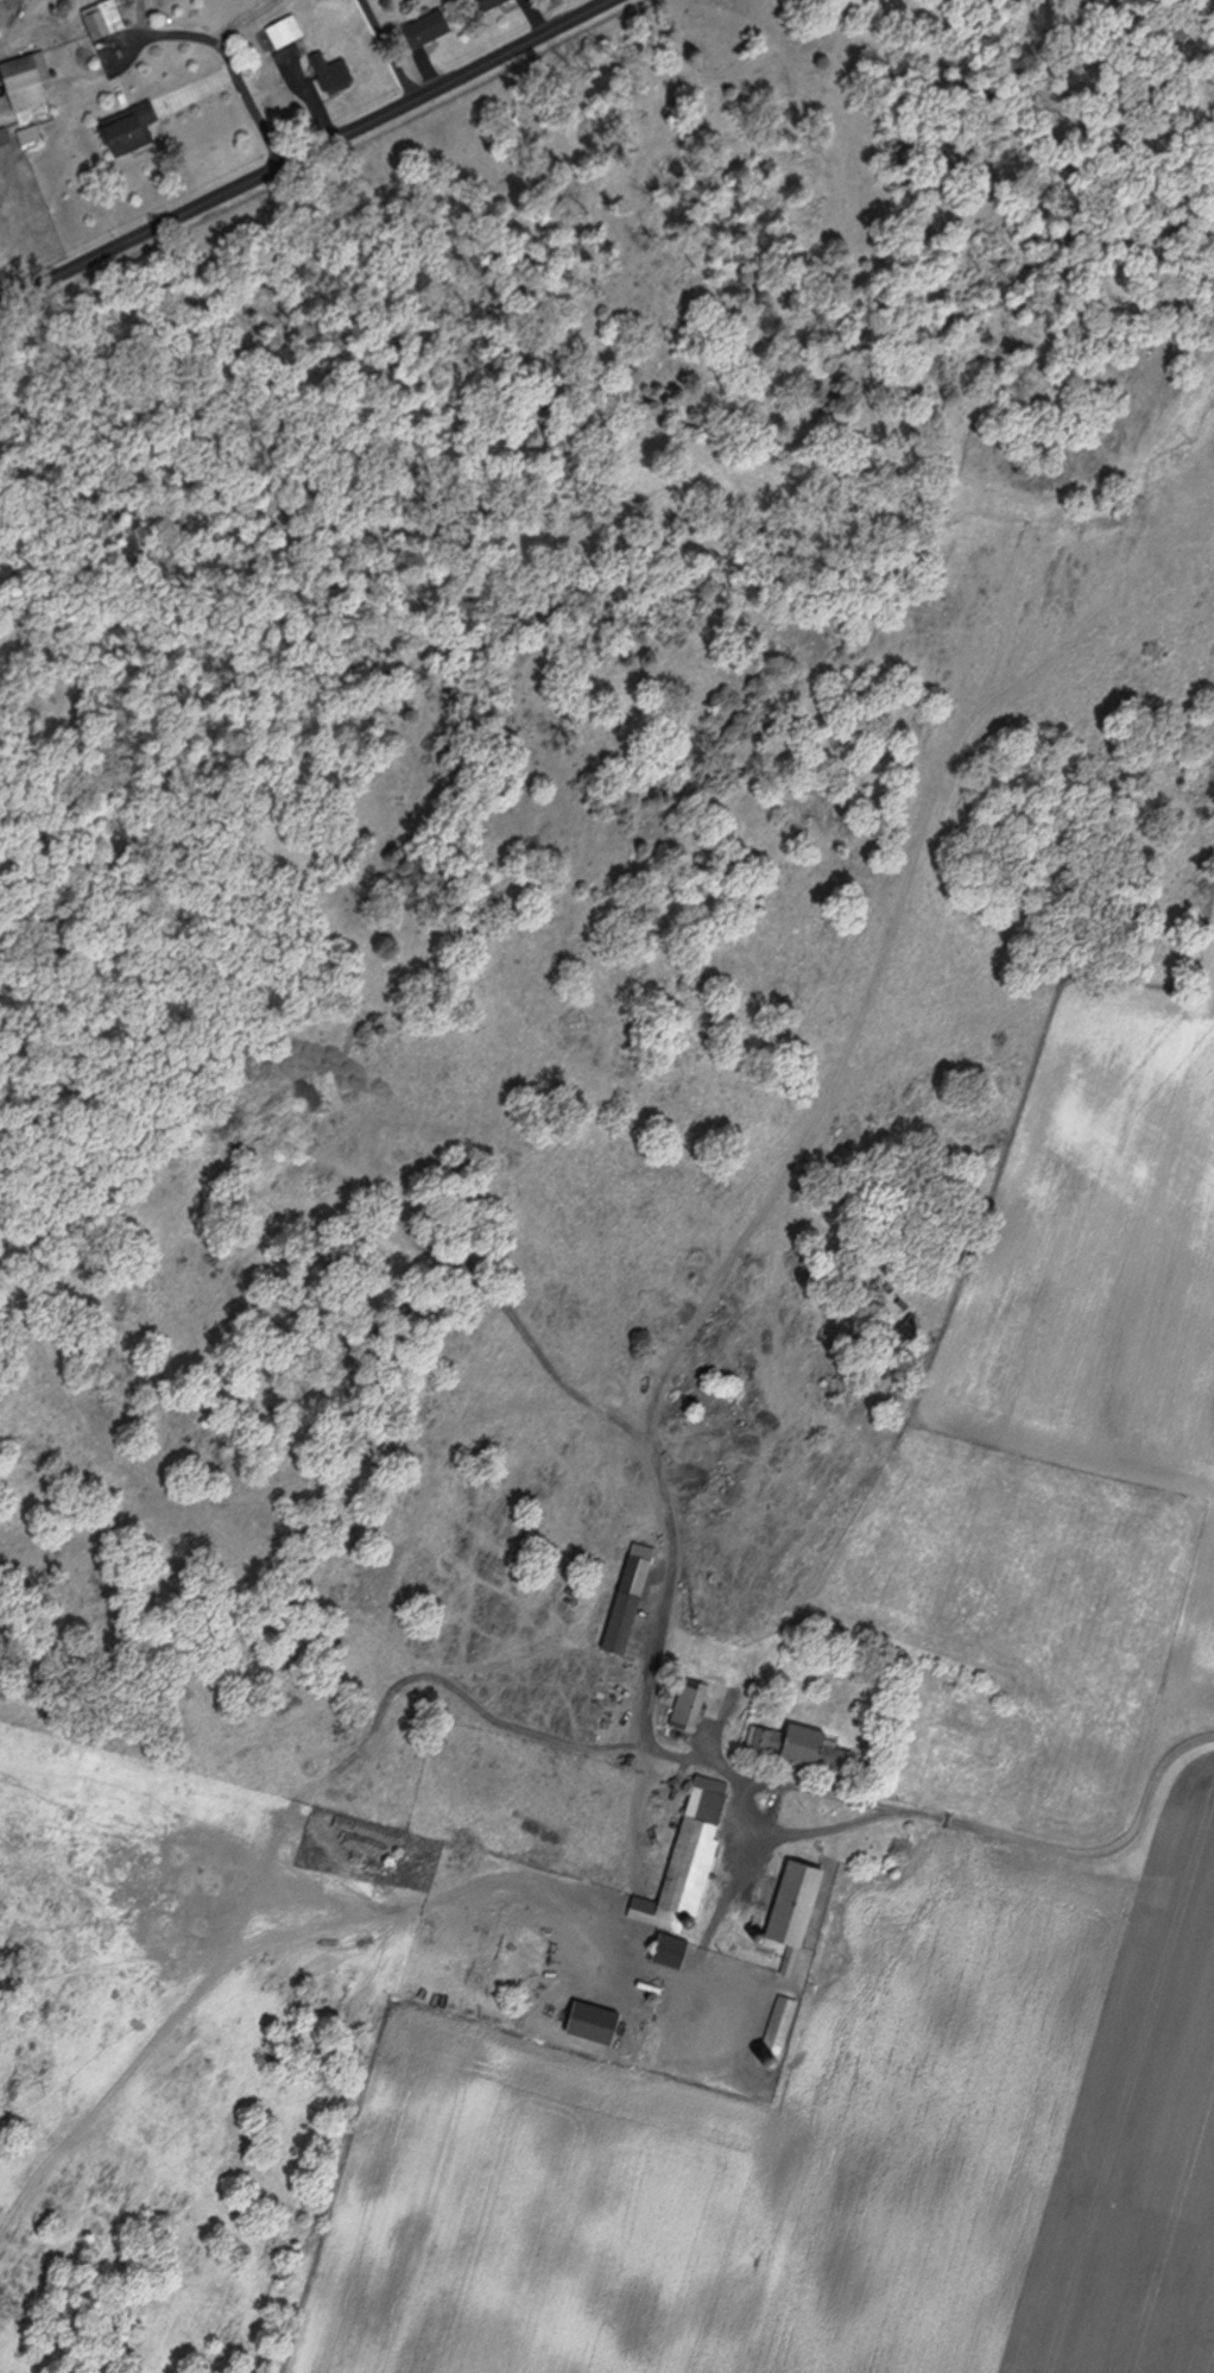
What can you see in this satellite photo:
road: (233, 19)
building: (93, 20)
building: (410, 29)
building: (272, 32)
road: (378, 48)
road: (227, 67)
building: (318, 72)
building: (18, 82)
building: (116, 131)
building: (21, 138)
building: (1, 140)
road: (295, 151)
building: (608, 1621)
road: (652, 1652)
building: (676, 1700)
building: (772, 1743)
road: (734, 1805)
road: (1080, 1851)
building: (674, 1858)
road: (722, 1881)
building: (778, 1907)
building: (656, 1950)
building: (769, 2024)

